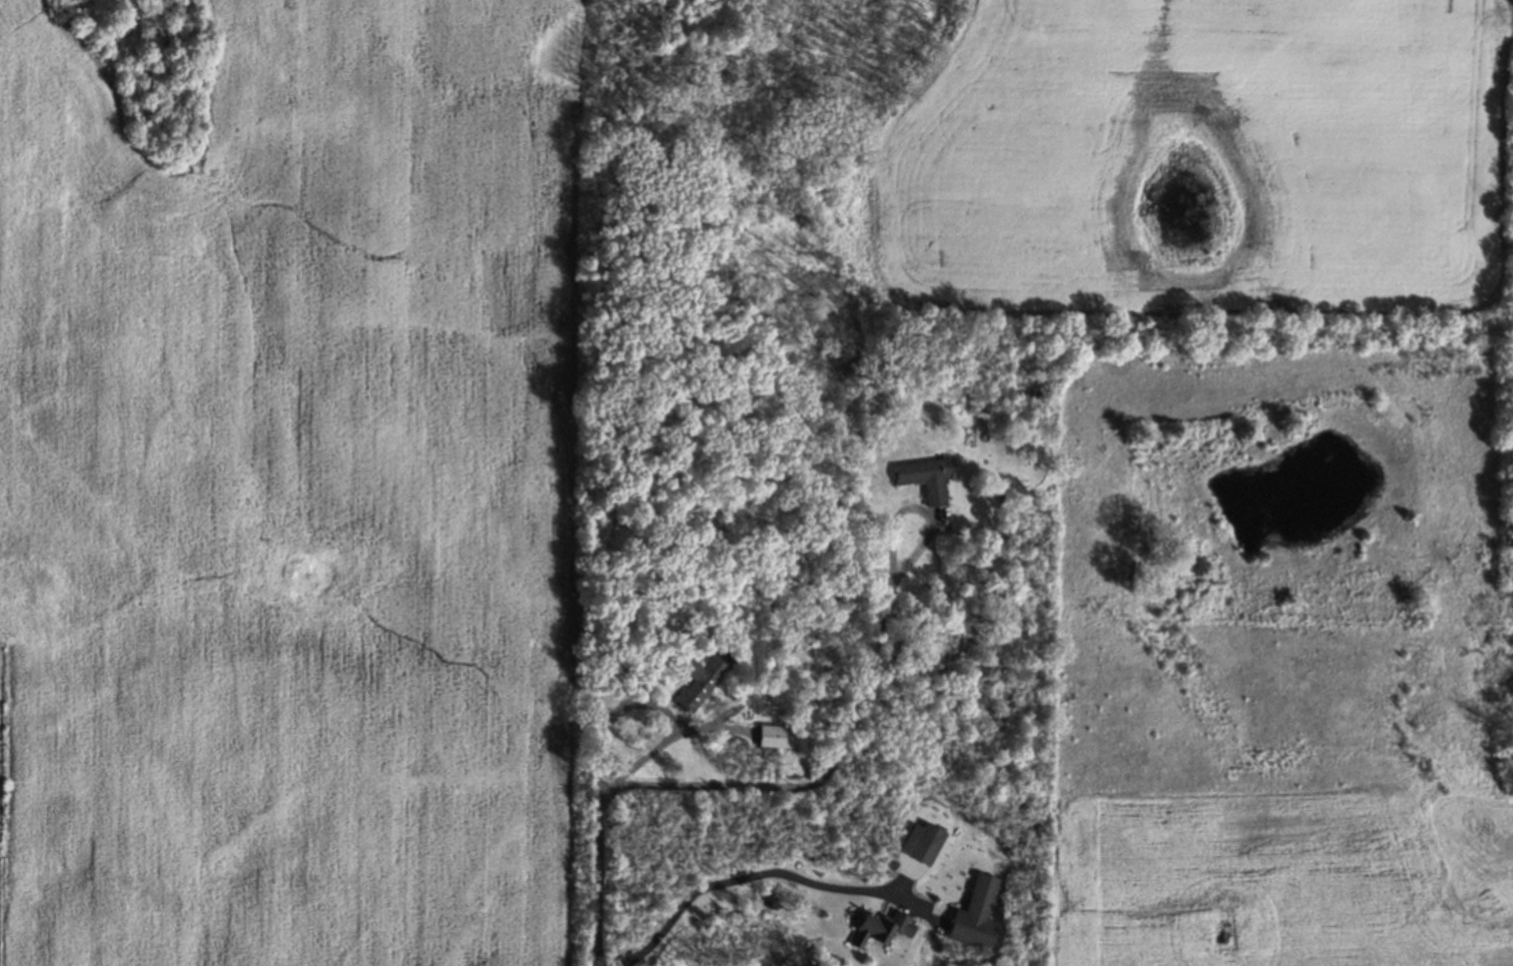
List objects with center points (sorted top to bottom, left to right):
crop: (1190, 157)
building: (925, 477)
crop: (284, 489)
building: (696, 679)
road: (654, 700)
crop: (1264, 712)
building: (777, 737)
road: (821, 769)
building: (922, 843)
road: (740, 877)
building: (976, 915)
building: (880, 928)
road: (596, 955)

